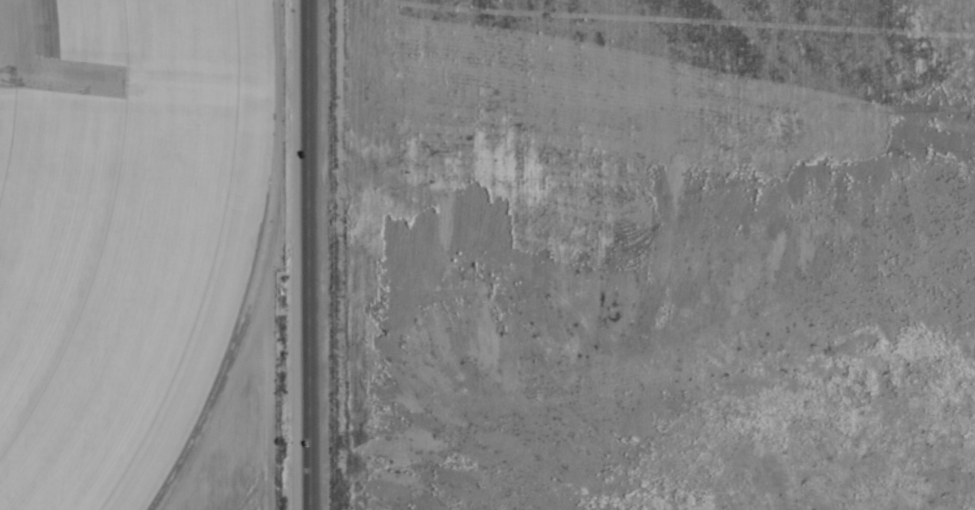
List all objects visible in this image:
crop: (497, 249)
road: (314, 255)

